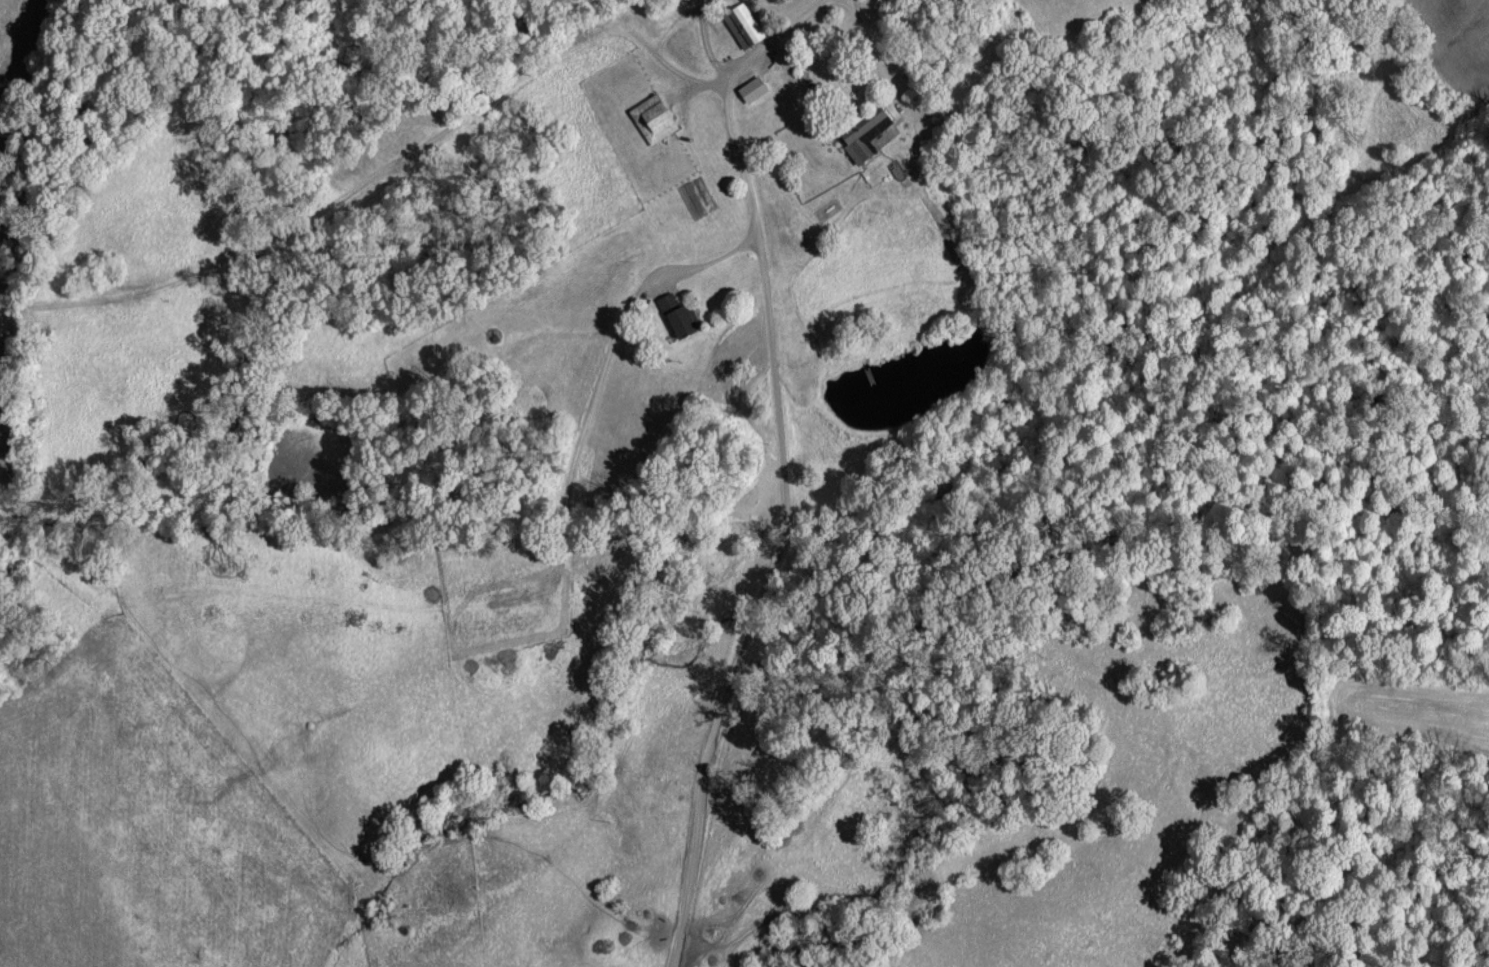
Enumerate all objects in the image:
building: (742, 25)
building: (752, 88)
building: (652, 118)
building: (864, 135)
building: (678, 315)

